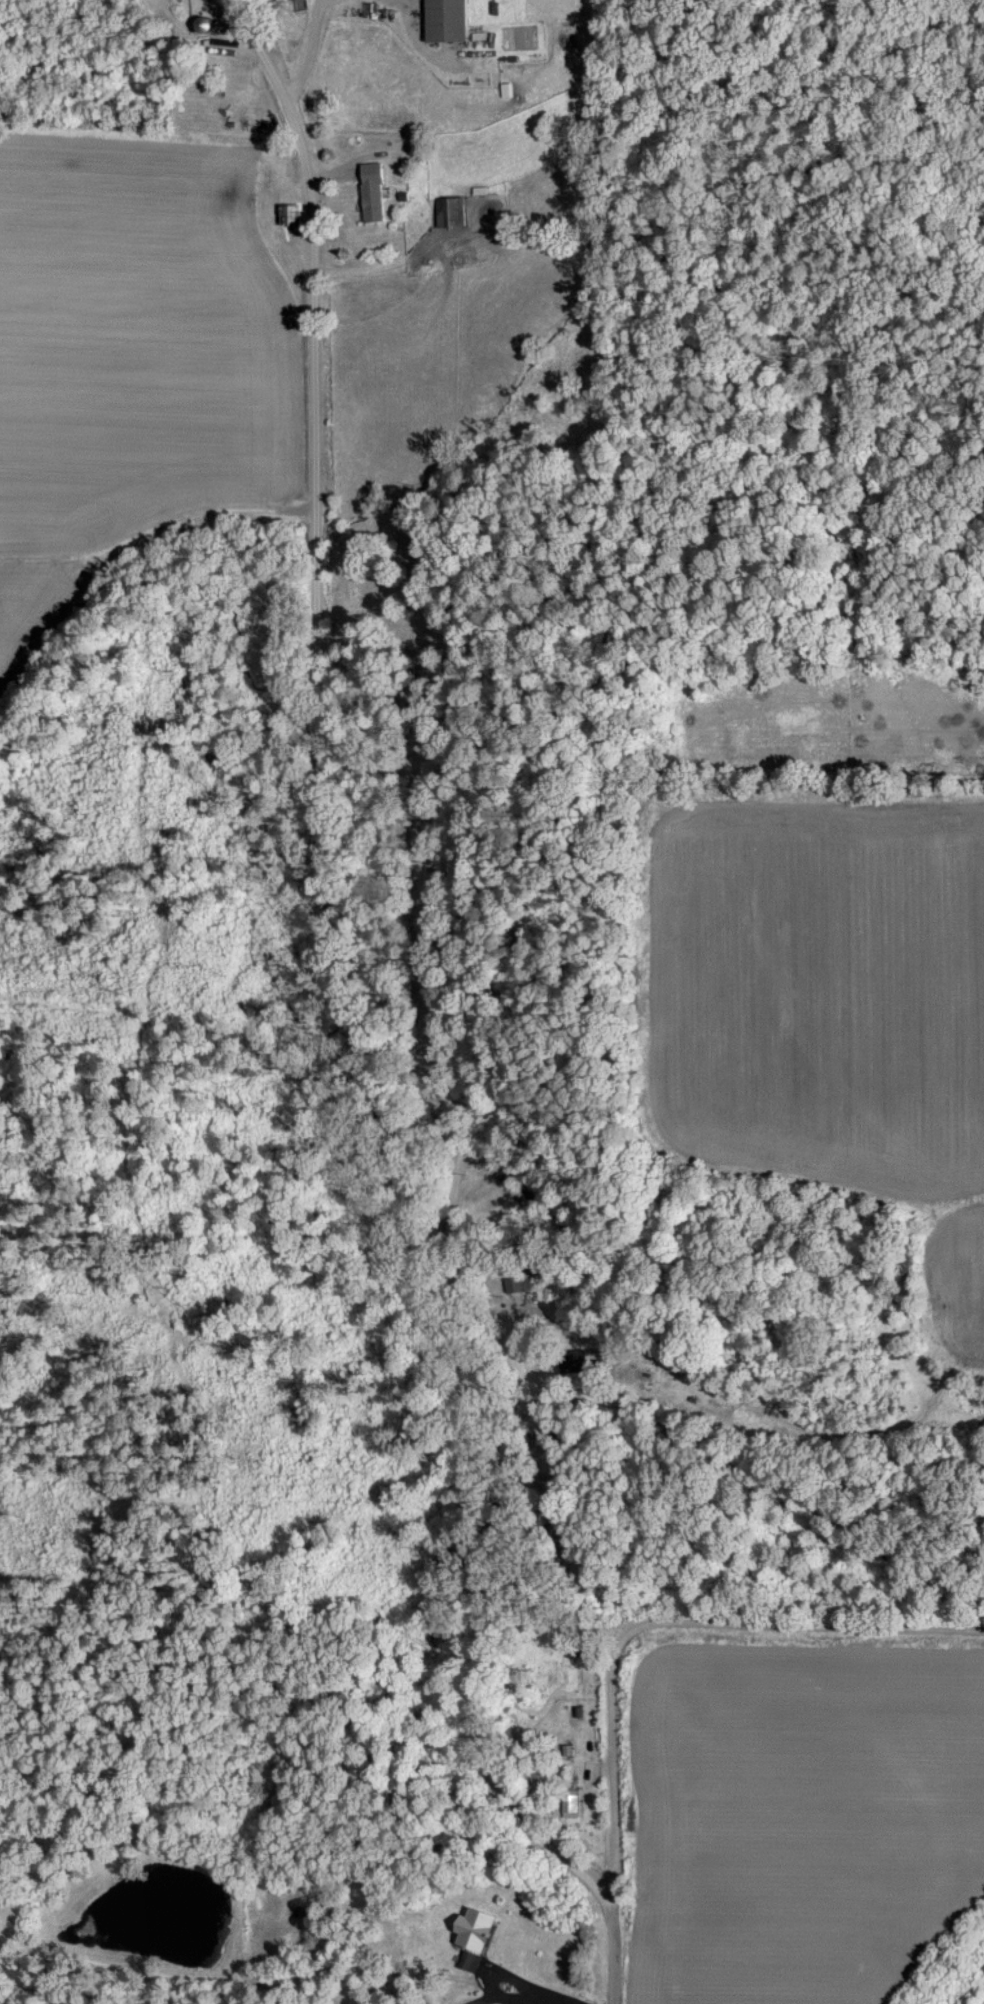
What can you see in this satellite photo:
building: (441, 19)
building: (504, 88)
building: (368, 190)
building: (447, 210)
building: (286, 213)
road: (359, 1029)
building: (524, 1281)
road: (664, 1621)
building: (566, 1802)
building: (468, 1927)
building: (466, 1960)

